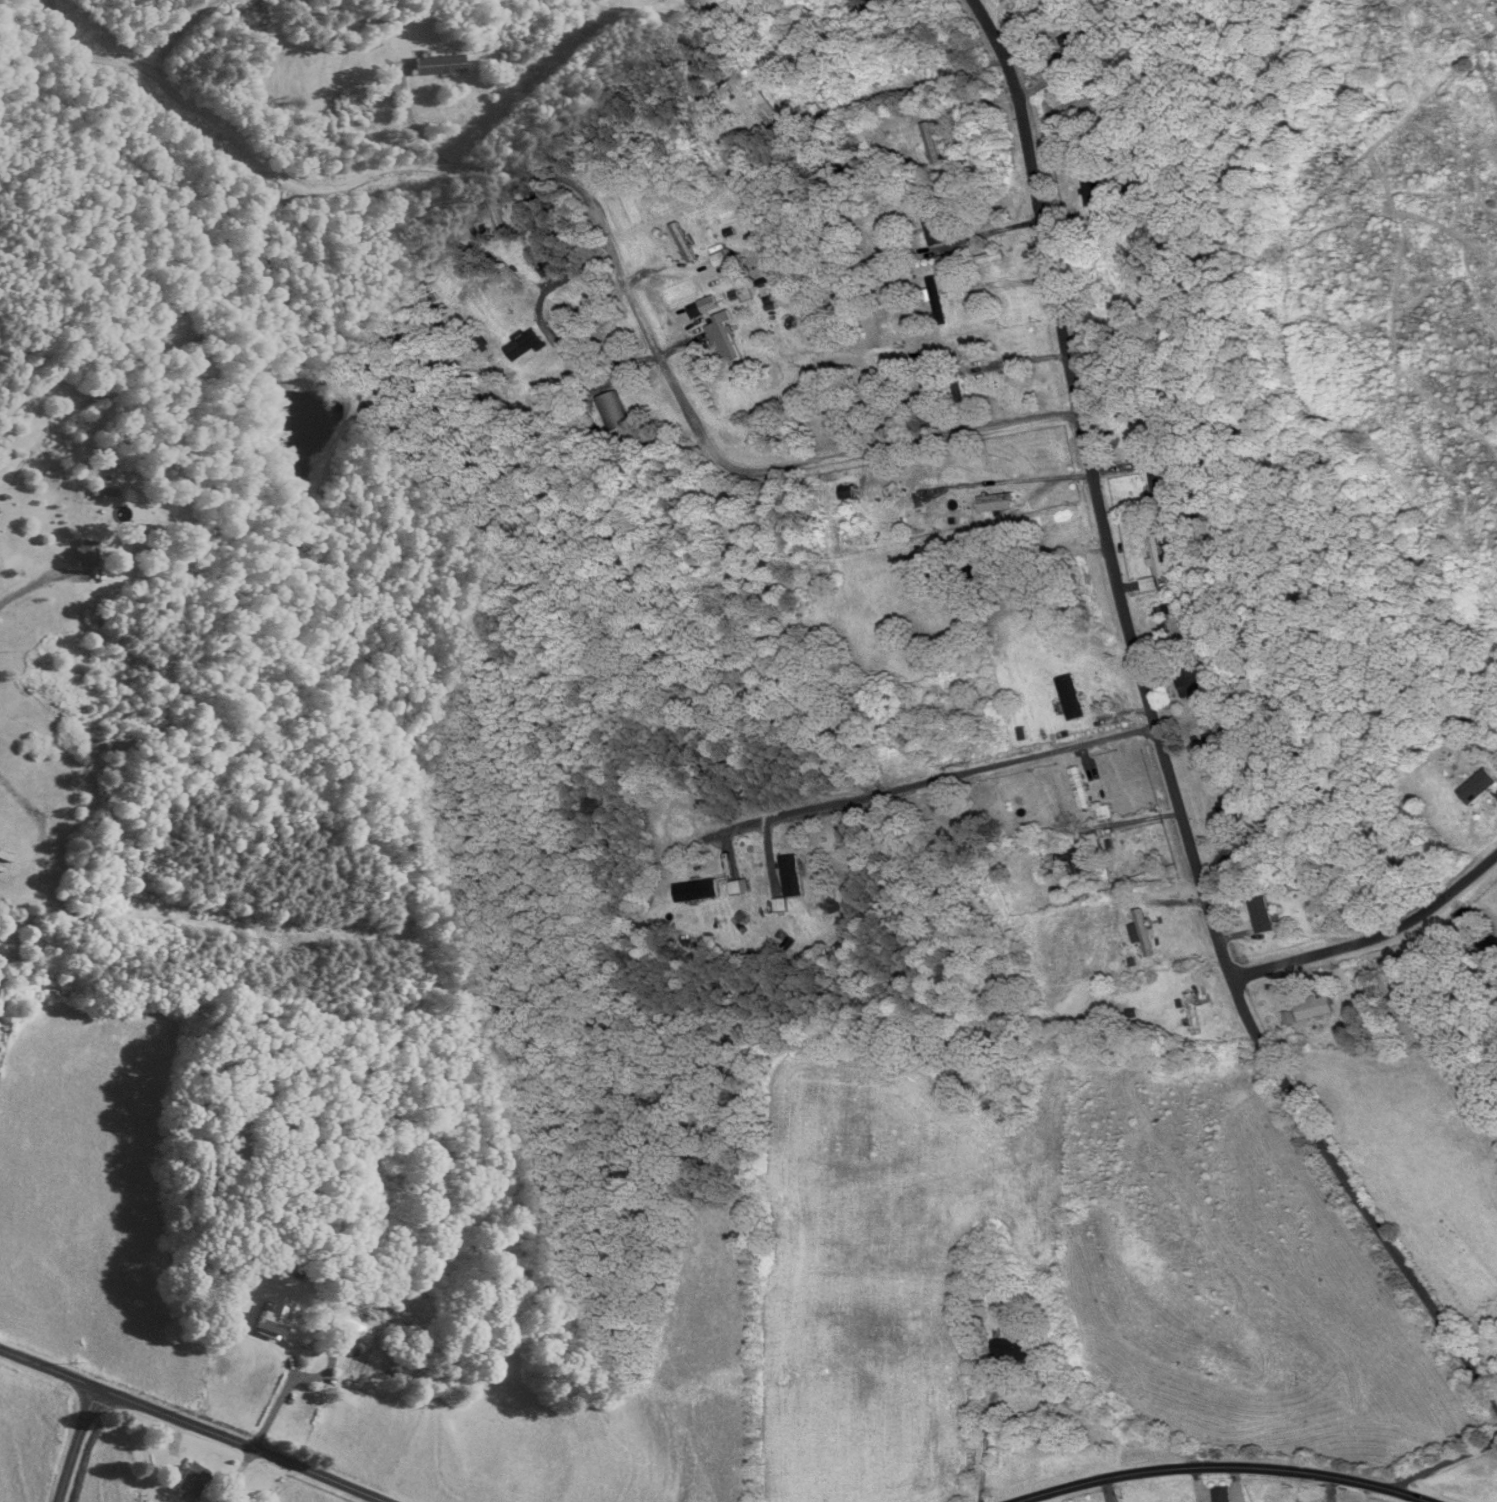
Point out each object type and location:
building: (697, 2)
building: (263, 16)
road: (179, 31)
building: (1078, 40)
building: (439, 65)
building: (760, 99)
building: (1092, 191)
road: (599, 220)
building: (933, 229)
road: (987, 233)
building: (682, 244)
building: (719, 261)
building: (933, 307)
building: (722, 340)
building: (524, 346)
road: (1020, 359)
building: (956, 383)
building: (613, 413)
building: (1165, 441)
building: (1153, 480)
building: (845, 494)
building: (909, 500)
building: (992, 500)
road: (1104, 537)
building: (85, 554)
road: (1050, 562)
building: (971, 565)
building: (1148, 586)
building: (1191, 687)
building: (1070, 698)
road: (938, 779)
building: (1478, 788)
building: (1228, 807)
building: (5, 857)
building: (1070, 862)
building: (791, 877)
building: (737, 889)
building: (696, 892)
building: (1261, 917)
building: (1140, 933)
road: (1372, 945)
building: (1313, 1009)
building: (1193, 1016)
road: (1387, 1230)
building: (1014, 1351)
road: (193, 1424)
road: (985, 1438)
road: (77, 1444)
road: (1445, 1462)
road: (1223, 1465)
building: (192, 1480)
building: (1221, 1495)

